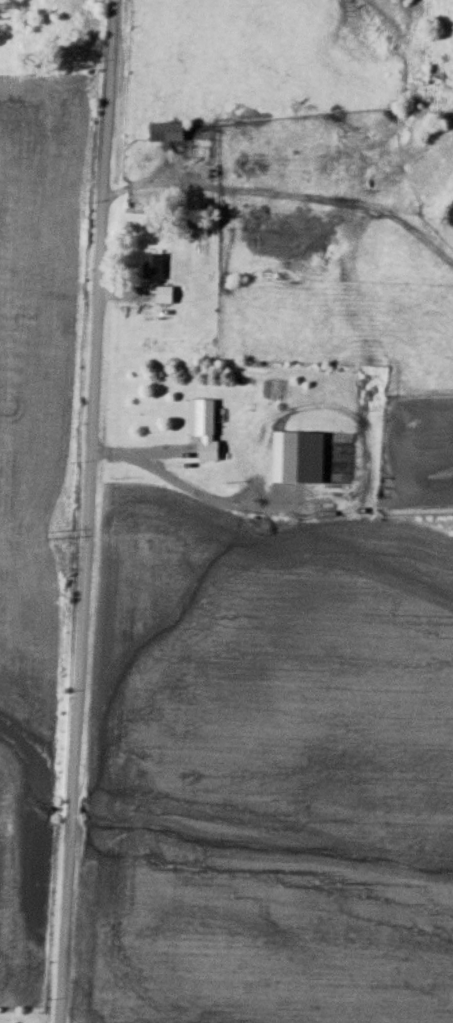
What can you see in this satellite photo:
building: (168, 131)
building: (153, 266)
building: (164, 295)
building: (206, 431)
building: (316, 458)
road: (89, 511)
power tower: (57, 534)

